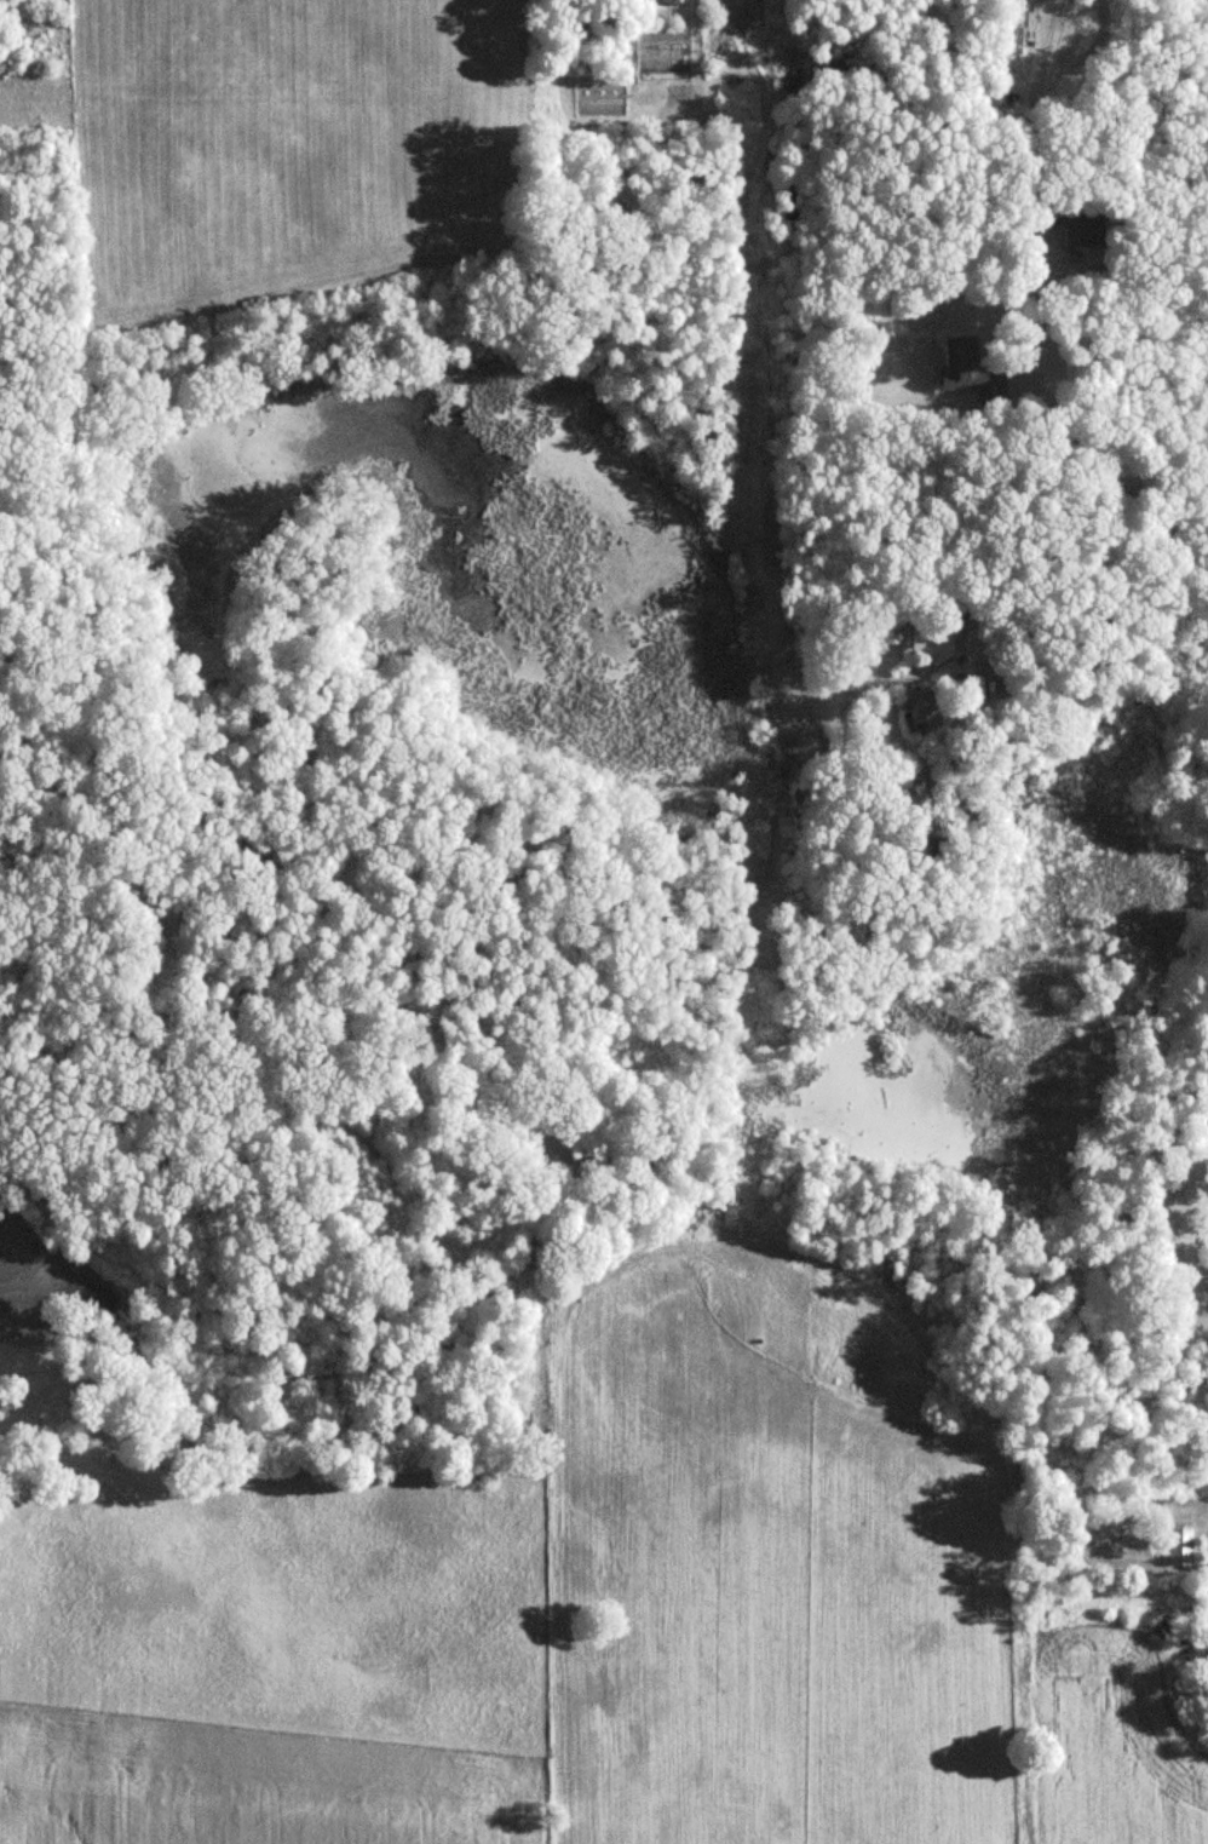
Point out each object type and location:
building: (1075, 226)
building: (963, 364)
building: (930, 638)
building: (922, 711)
building: (1180, 1246)
building: (1179, 1546)

